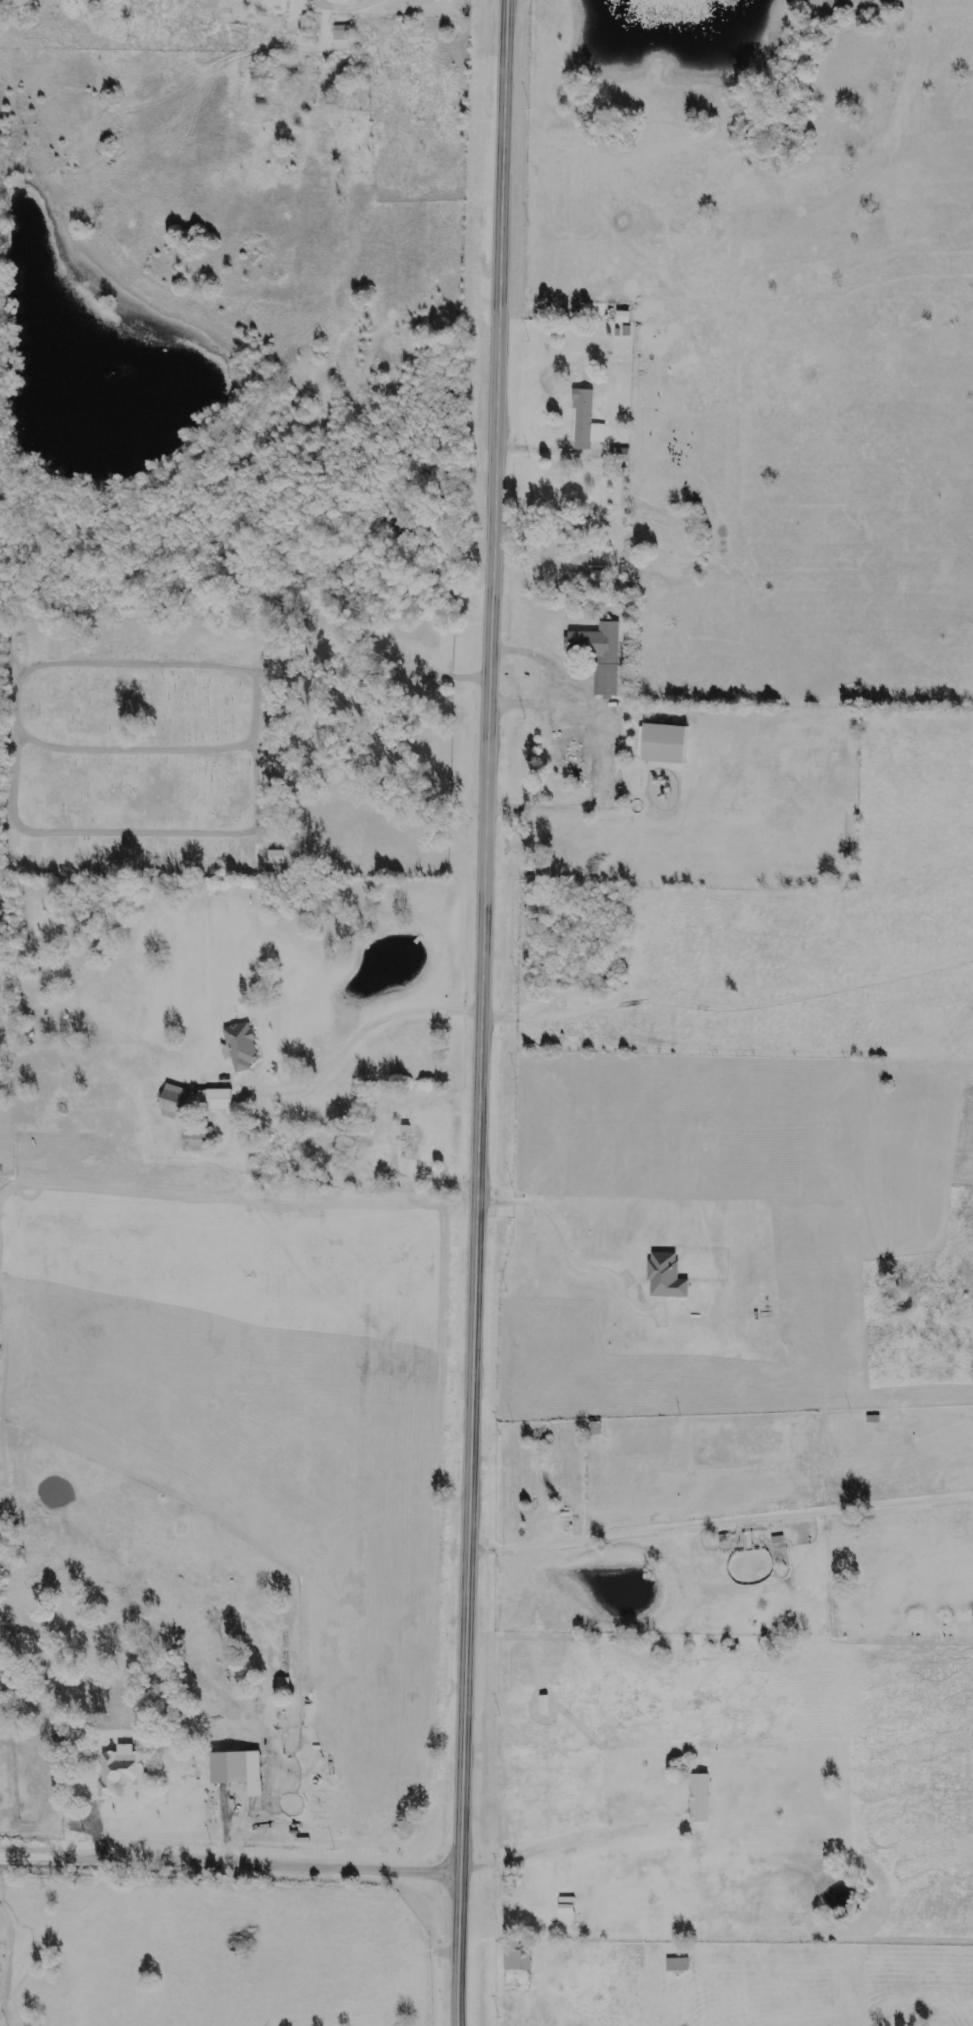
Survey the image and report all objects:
building: (340, 42)
building: (583, 423)
road: (557, 448)
building: (620, 471)
building: (597, 655)
road: (301, 656)
road: (546, 677)
building: (660, 744)
park: (135, 749)
building: (569, 753)
road: (603, 782)
building: (279, 856)
road: (484, 1013)
road: (359, 1033)
building: (239, 1047)
building: (172, 1100)
building: (216, 1100)
building: (201, 1135)
building: (404, 1138)
building: (196, 1147)
road: (425, 1177)
road: (570, 1251)
building: (663, 1277)
road: (523, 1478)
road: (722, 1513)
building: (541, 1707)
building: (226, 1769)
building: (117, 1773)
building: (697, 1799)
road: (555, 1847)
road: (229, 1858)
building: (563, 1910)
building: (515, 1961)
building: (674, 1967)

